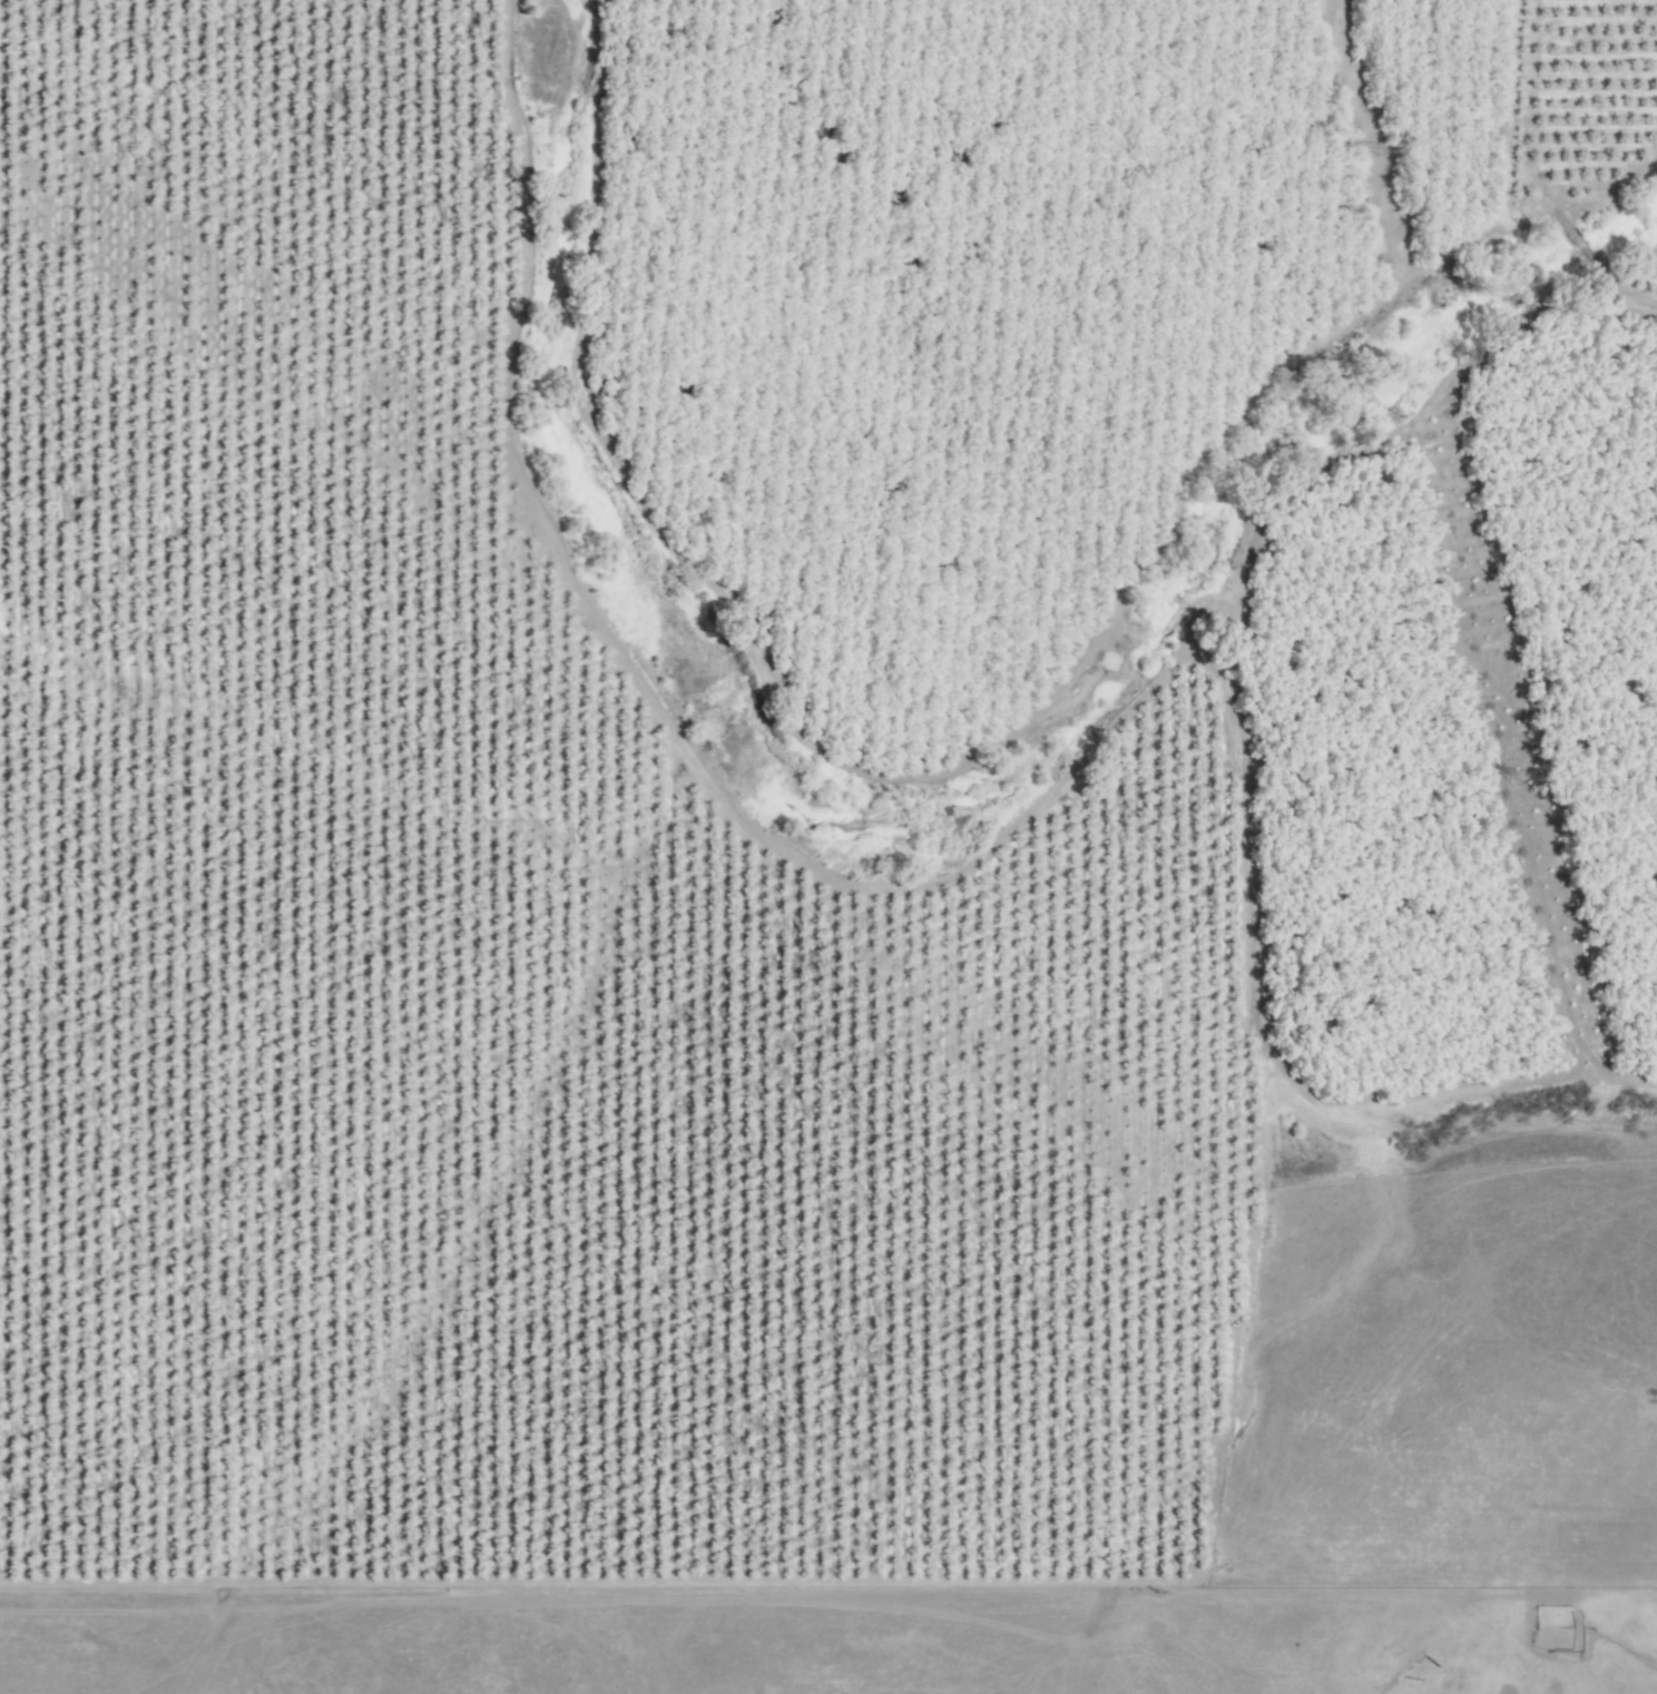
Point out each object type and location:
power tower: (1369, 148)
power tower: (1522, 779)

